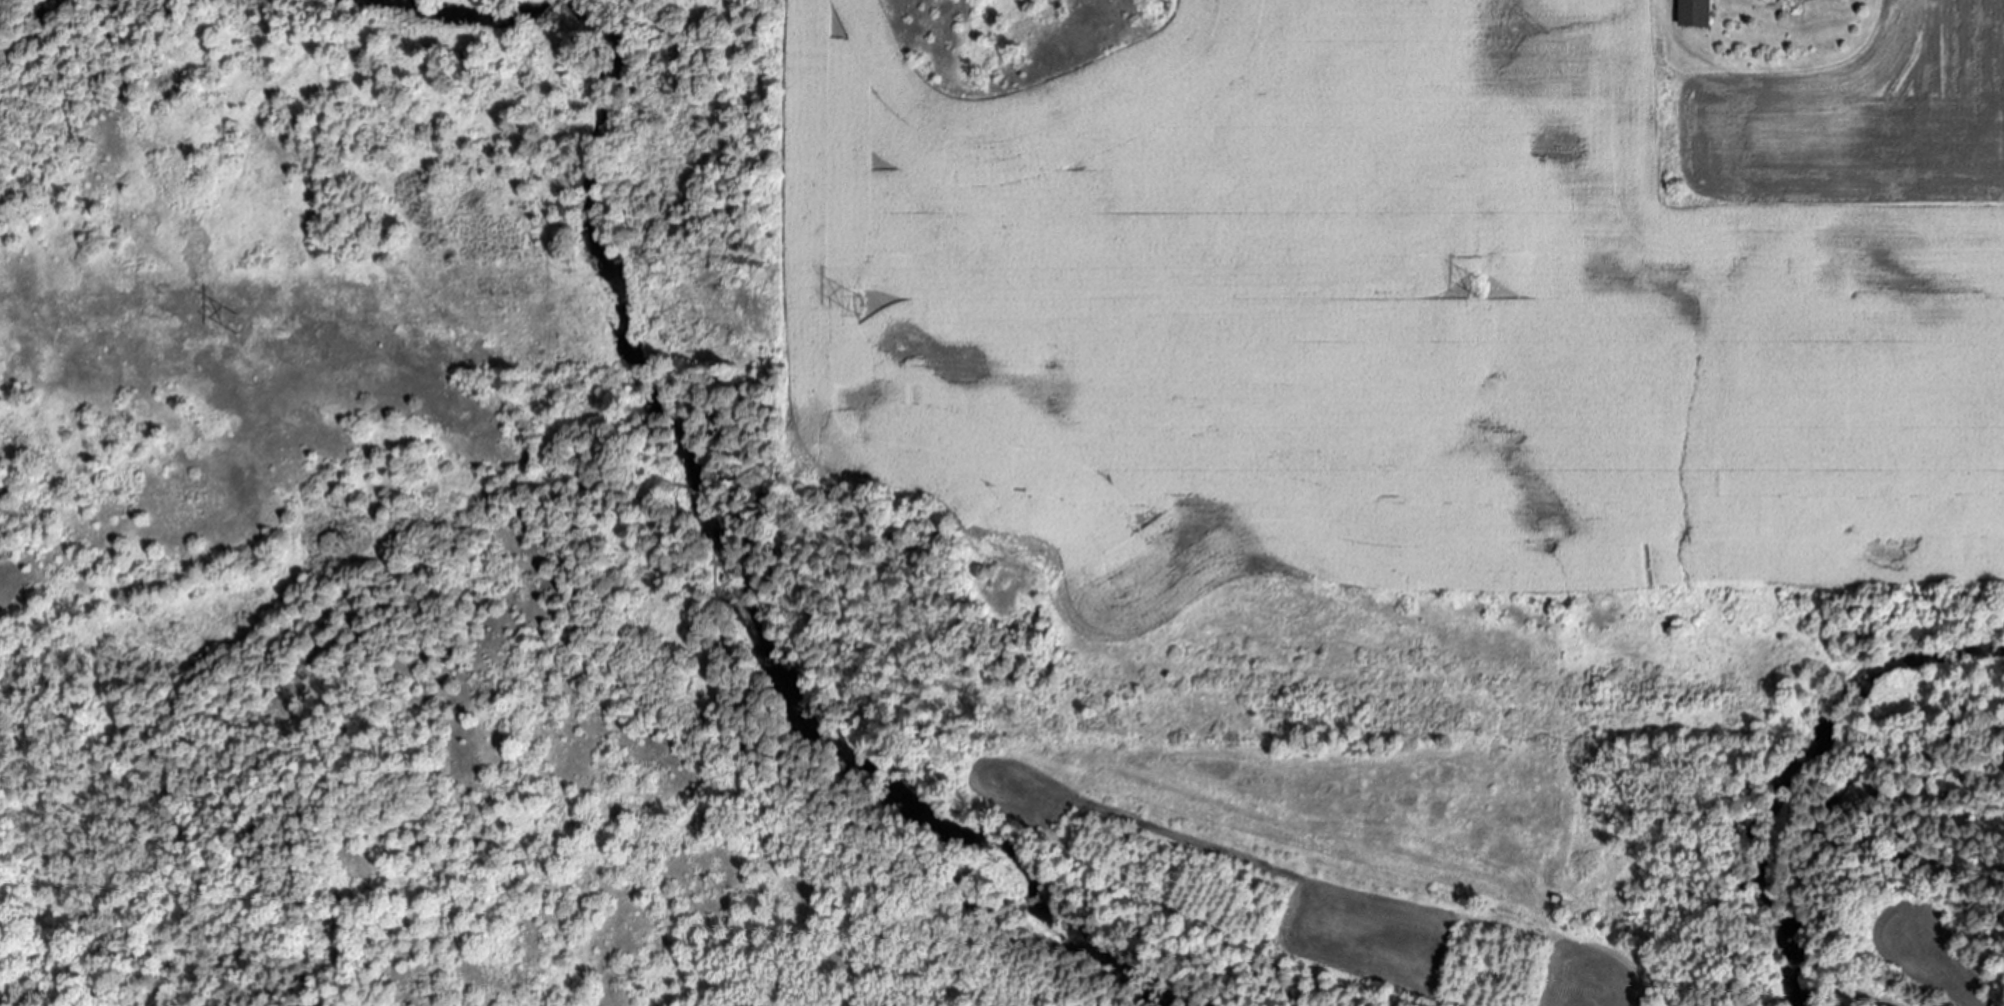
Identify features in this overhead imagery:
building: (1698, 13)
river: (34, 31)
power tower: (1475, 288)
power tower: (857, 307)
power tower: (235, 325)
river: (670, 449)
river: (1789, 767)

